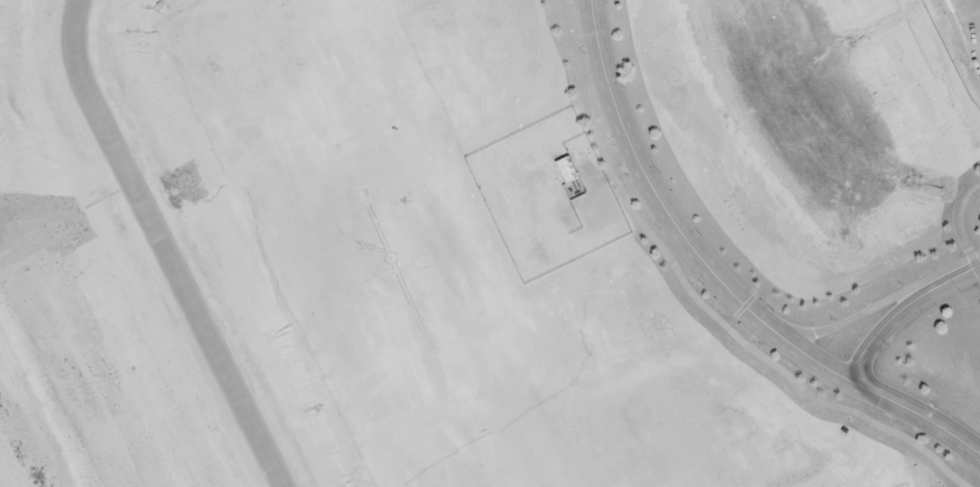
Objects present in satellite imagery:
building: (368, 12)
building: (334, 23)
building: (364, 44)
building: (404, 101)
building: (335, 105)
building: (566, 168)
road: (163, 247)
road: (720, 280)
road: (903, 309)

